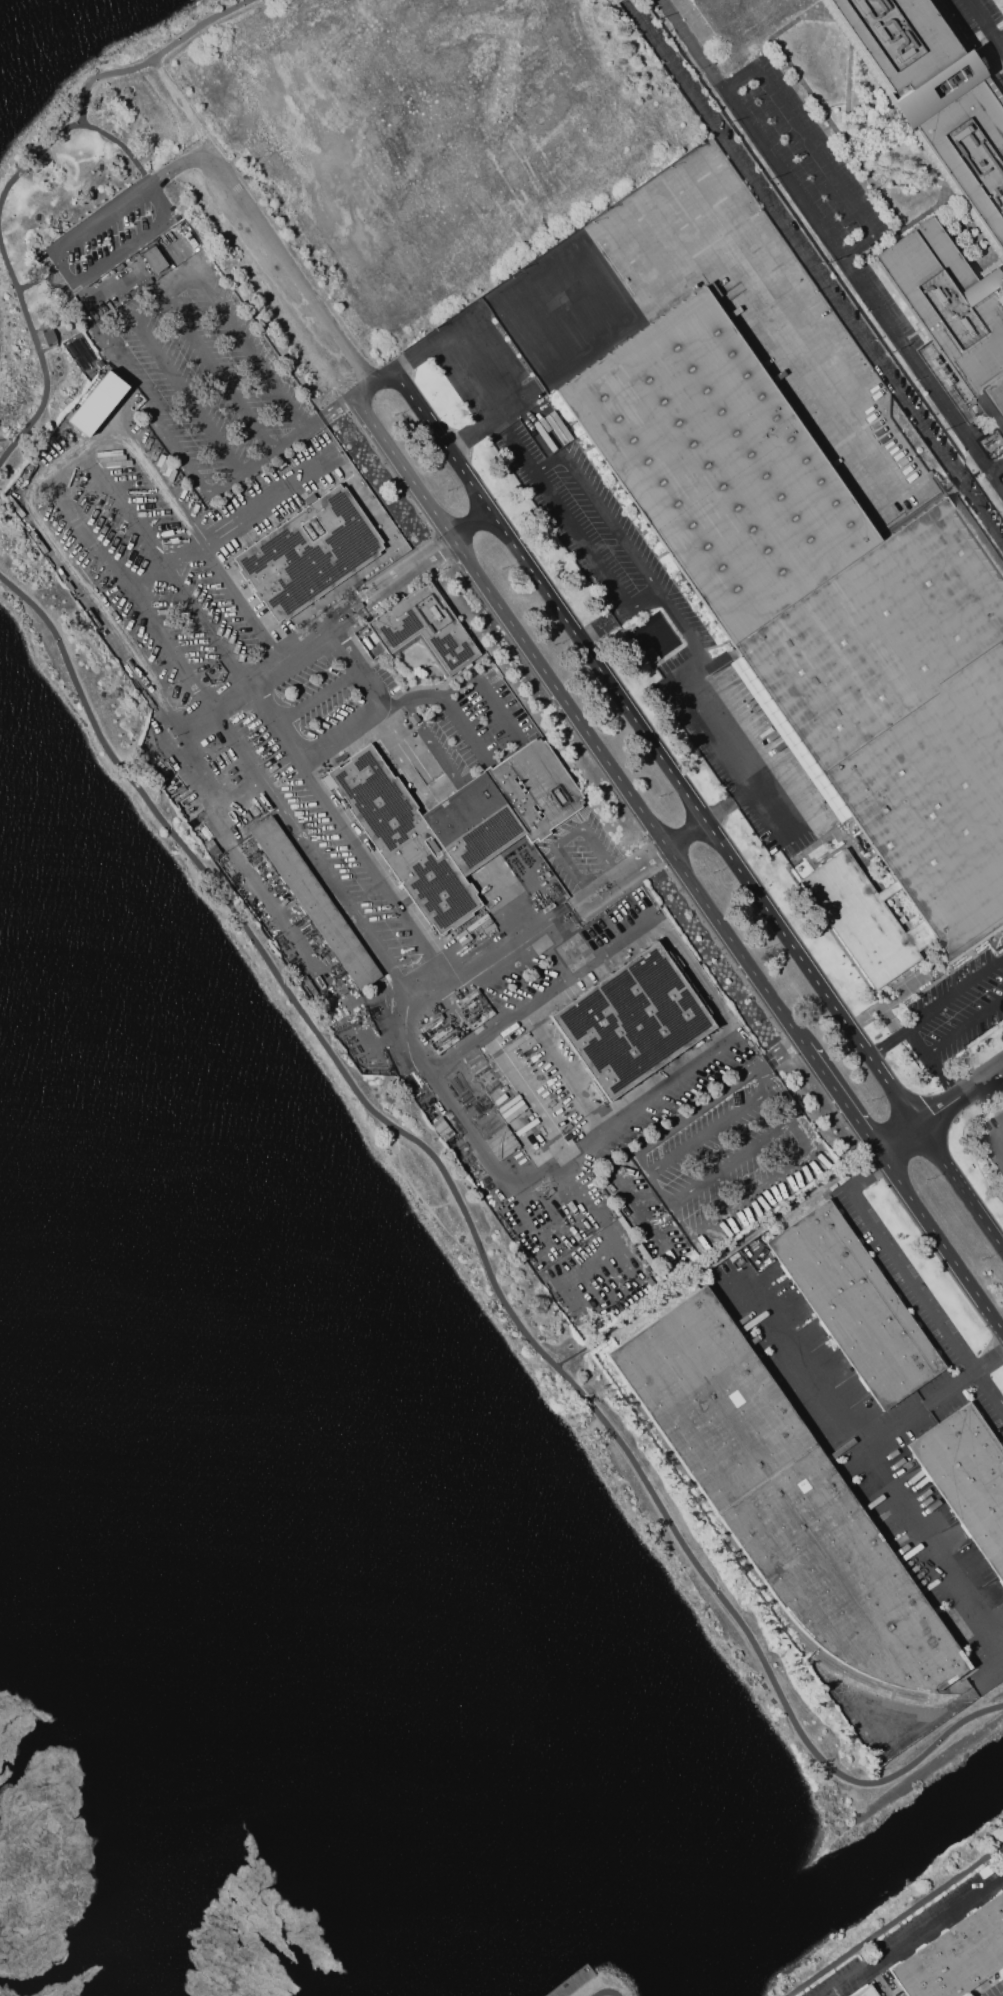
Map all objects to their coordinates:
road: (986, 19)
parking lot: (985, 25)
road: (197, 26)
road: (1001, 37)
building: (904, 39)
road: (1001, 41)
road: (185, 109)
road: (75, 120)
road: (121, 145)
building: (973, 147)
road: (814, 149)
road: (616, 221)
parking lot: (851, 230)
parking lot: (108, 235)
road: (830, 240)
road: (277, 247)
road: (720, 254)
building: (154, 260)
road: (70, 276)
road: (40, 277)
road: (208, 280)
road: (818, 280)
building: (951, 303)
building: (49, 337)
road: (483, 344)
road: (40, 356)
road: (219, 372)
road: (372, 384)
road: (185, 395)
building: (97, 404)
road: (8, 437)
road: (1000, 479)
road: (205, 488)
road: (597, 509)
road: (559, 515)
road: (41, 518)
road: (471, 526)
road: (200, 541)
building: (309, 553)
road: (167, 568)
road: (370, 587)
road: (133, 593)
road: (638, 605)
building: (822, 606)
road: (353, 620)
road: (602, 628)
building: (424, 630)
building: (649, 655)
road: (484, 689)
road: (313, 699)
road: (232, 703)
road: (695, 709)
road: (456, 710)
road: (373, 711)
road: (436, 717)
road: (577, 723)
road: (656, 749)
road: (442, 789)
road: (771, 817)
building: (453, 822)
road: (568, 834)
building: (314, 902)
building: (863, 919)
road: (647, 923)
road: (553, 927)
road: (572, 944)
road: (955, 994)
building: (632, 1021)
road: (964, 1026)
road: (887, 1041)
road: (916, 1041)
road: (777, 1055)
road: (560, 1070)
road: (942, 1077)
road: (764, 1079)
road: (525, 1096)
road: (961, 1098)
road: (841, 1101)
road: (686, 1118)
road: (709, 1131)
road: (999, 1134)
road: (899, 1142)
road: (482, 1150)
road: (730, 1162)
road: (534, 1175)
road: (960, 1188)
road: (585, 1193)
road: (750, 1196)
road: (635, 1199)
road: (557, 1215)
road: (940, 1245)
road: (478, 1247)
road: (715, 1255)
road: (585, 1261)
road: (911, 1284)
building: (854, 1304)
road: (846, 1432)
building: (967, 1477)
building: (782, 1497)
road: (931, 1549)
road: (935, 1718)
road: (894, 1920)
road: (919, 1936)
building: (956, 1955)
park: (592, 1980)
road: (878, 1984)
building: (866, 1991)
road: (605, 1992)

